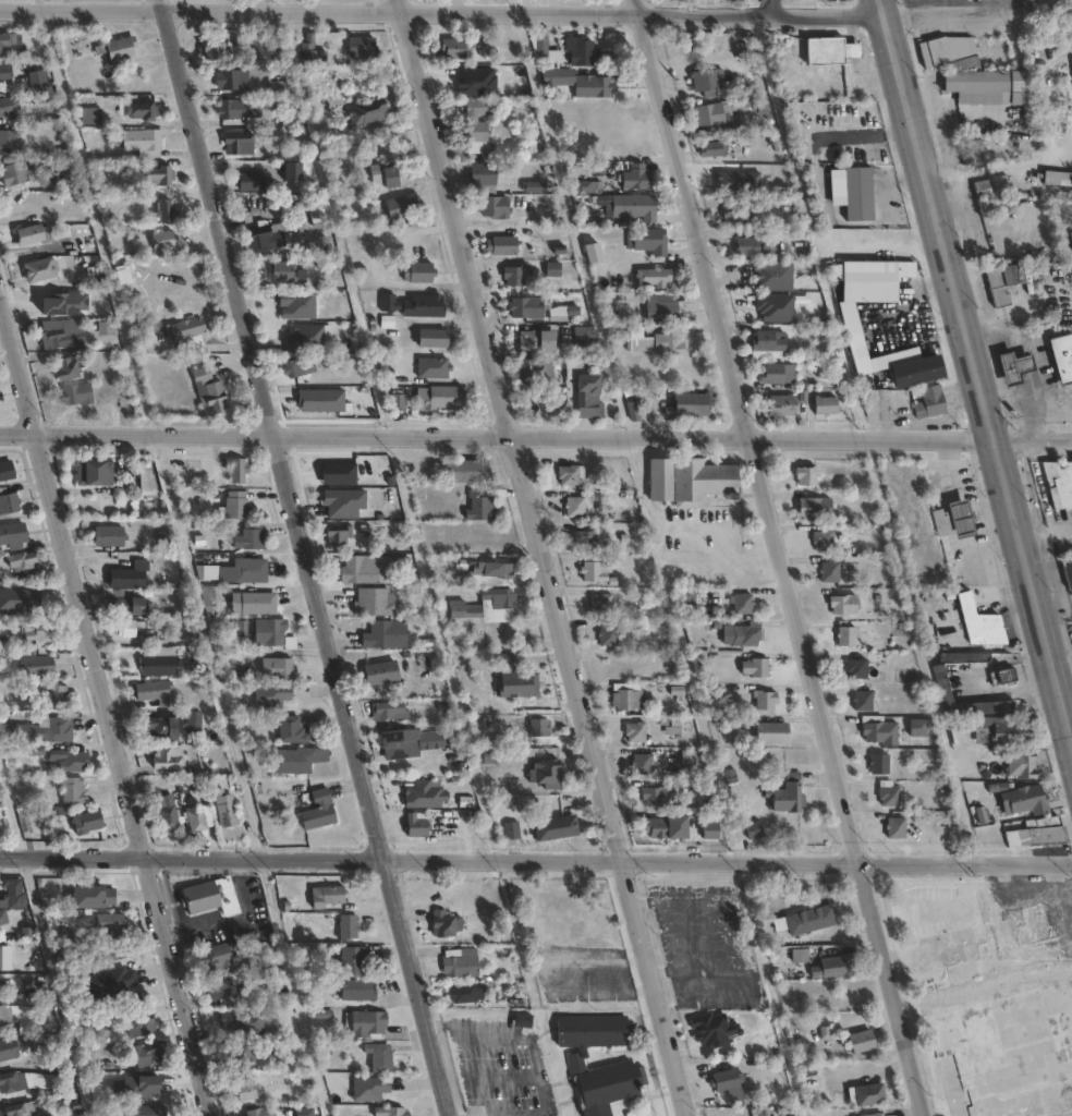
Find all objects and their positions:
road: (907, 10)
road: (441, 11)
road: (947, 15)
building: (7, 45)
building: (212, 47)
building: (361, 47)
building: (458, 48)
building: (541, 48)
building: (121, 49)
building: (582, 49)
building: (313, 50)
building: (831, 50)
building: (947, 50)
building: (4, 72)
building: (559, 75)
building: (232, 80)
building: (37, 82)
building: (707, 82)
building: (279, 86)
building: (990, 86)
building: (599, 87)
building: (9, 105)
building: (753, 106)
building: (232, 109)
building: (144, 111)
building: (368, 111)
building: (710, 113)
building: (92, 116)
building: (741, 122)
building: (478, 123)
road: (863, 135)
building: (11, 143)
building: (147, 143)
building: (239, 143)
building: (715, 148)
road: (814, 157)
road: (1000, 166)
building: (293, 172)
building: (13, 173)
building: (483, 173)
building: (160, 174)
building: (392, 174)
building: (637, 177)
building: (1059, 178)
building: (248, 181)
building: (538, 186)
building: (990, 186)
building: (860, 194)
building: (998, 205)
building: (633, 206)
building: (403, 207)
building: (494, 207)
building: (166, 210)
building: (738, 211)
road: (874, 225)
building: (29, 234)
building: (257, 236)
building: (163, 240)
building: (648, 240)
building: (1071, 242)
building: (502, 245)
building: (757, 246)
building: (594, 253)
building: (40, 269)
building: (553, 269)
building: (284, 272)
building: (419, 272)
building: (515, 275)
building: (777, 275)
building: (655, 277)
building: (1047, 279)
building: (873, 280)
building: (1004, 282)
building: (296, 305)
building: (414, 305)
building: (527, 307)
building: (662, 312)
building: (106, 327)
building: (65, 331)
building: (186, 332)
building: (304, 336)
building: (435, 338)
building: (584, 339)
building: (536, 340)
building: (638, 340)
building: (670, 343)
building: (768, 344)
building: (1063, 357)
road: (976, 366)
building: (68, 367)
building: (574, 367)
building: (1016, 367)
gas station: (1016, 367)
building: (301, 368)
building: (434, 368)
building: (536, 372)
building: (918, 372)
building: (777, 374)
building: (344, 378)
building: (208, 391)
building: (76, 395)
building: (440, 398)
building: (398, 400)
building: (588, 400)
building: (930, 402)
building: (689, 405)
building: (783, 405)
building: (827, 405)
building: (634, 413)
road: (498, 435)
building: (237, 470)
building: (5, 471)
building: (467, 471)
building: (94, 473)
building: (572, 475)
building: (807, 476)
building: (144, 477)
building: (690, 482)
building: (1059, 484)
building: (9, 502)
building: (236, 506)
building: (480, 506)
building: (575, 507)
building: (815, 508)
building: (964, 520)
building: (943, 522)
building: (338, 534)
building: (110, 536)
building: (12, 537)
building: (584, 539)
building: (251, 541)
building: (824, 541)
road: (545, 557)
road: (781, 557)
road: (307, 558)
building: (22, 561)
building: (595, 568)
building: (364, 570)
building: (492, 570)
building: (245, 571)
building: (210, 572)
building: (830, 572)
building: (1069, 573)
building: (130, 577)
building: (687, 596)
building: (499, 597)
building: (208, 599)
building: (375, 603)
building: (253, 604)
building: (602, 604)
building: (743, 604)
building: (844, 604)
building: (126, 606)
building: (464, 608)
building: (982, 622)
building: (239, 628)
building: (127, 629)
building: (37, 631)
building: (269, 632)
building: (746, 634)
building: (386, 635)
building: (609, 635)
building: (846, 636)
building: (38, 665)
building: (159, 666)
building: (756, 668)
building: (284, 669)
building: (857, 669)
building: (381, 674)
building: (1007, 676)
building: (515, 679)
building: (942, 683)
building: (151, 691)
building: (271, 696)
building: (58, 697)
road: (105, 700)
building: (629, 700)
building: (766, 701)
building: (864, 701)
building: (390, 711)
building: (195, 723)
building: (672, 726)
building: (54, 728)
building: (539, 728)
building: (162, 729)
building: (921, 729)
building: (879, 730)
building: (291, 731)
building: (21, 732)
building: (635, 732)
building: (1002, 732)
building: (772, 733)
building: (398, 745)
building: (501, 755)
building: (168, 757)
building: (72, 762)
building: (295, 762)
building: (879, 764)
building: (642, 766)
building: (1023, 766)
building: (547, 775)
building: (71, 789)
building: (789, 796)
building: (657, 797)
building: (891, 798)
building: (1026, 801)
building: (224, 809)
building: (319, 810)
building: (167, 812)
road: (10, 813)
building: (195, 818)
building: (87, 821)
building: (416, 825)
building: (668, 825)
building: (557, 827)
building: (897, 827)
building: (711, 829)
building: (756, 829)
building: (512, 830)
building: (1037, 836)
road: (536, 862)
building: (14, 894)
building: (211, 896)
building: (328, 896)
building: (94, 898)
building: (2, 914)
building: (807, 920)
building: (110, 923)
building: (444, 923)
building: (1031, 924)
building: (349, 926)
building: (119, 953)
building: (212, 955)
building: (802, 955)
building: (352, 961)
building: (461, 961)
building: (833, 968)
building: (109, 981)
building: (224, 986)
building: (356, 988)
building: (465, 993)
building: (7, 1016)
building: (523, 1020)
building: (142, 1022)
building: (367, 1022)
building: (711, 1029)
building: (592, 1035)
building: (1007, 1035)
building: (863, 1041)
building: (8, 1047)
building: (240, 1053)
building: (148, 1054)
building: (380, 1056)
building: (728, 1079)
building: (12, 1082)
building: (608, 1087)
building: (369, 1088)
building: (245, 1090)
building: (870, 1094)
building: (41, 1108)
building: (19, 1109)
building: (147, 1111)
building: (258, 1112)
building: (391, 1112)
building: (876, 1115)

